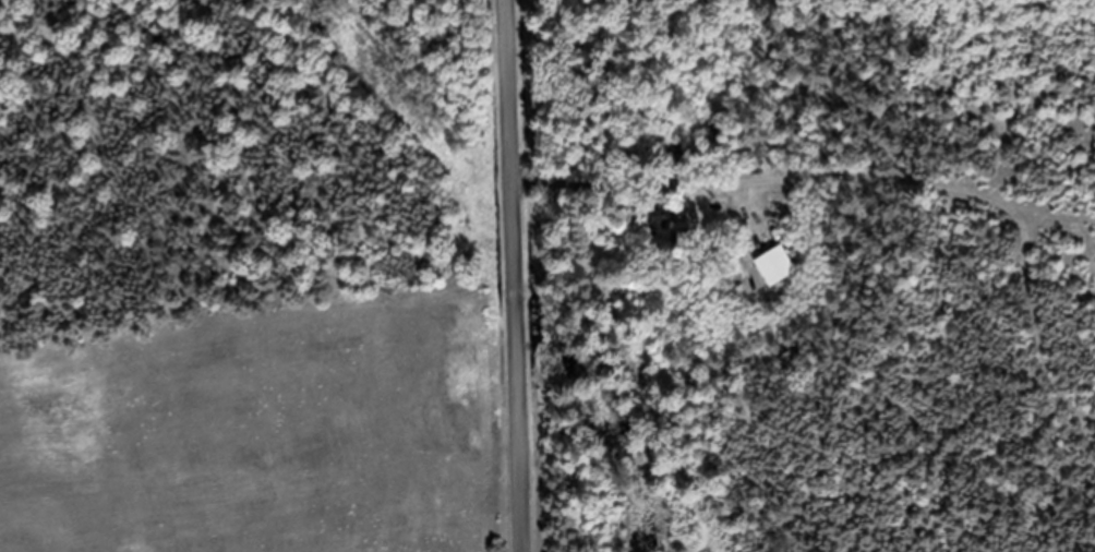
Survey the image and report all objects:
building: (970, 219)
building: (669, 224)
road: (518, 275)
airport: (254, 277)
building: (777, 277)
airport runway: (212, 521)

